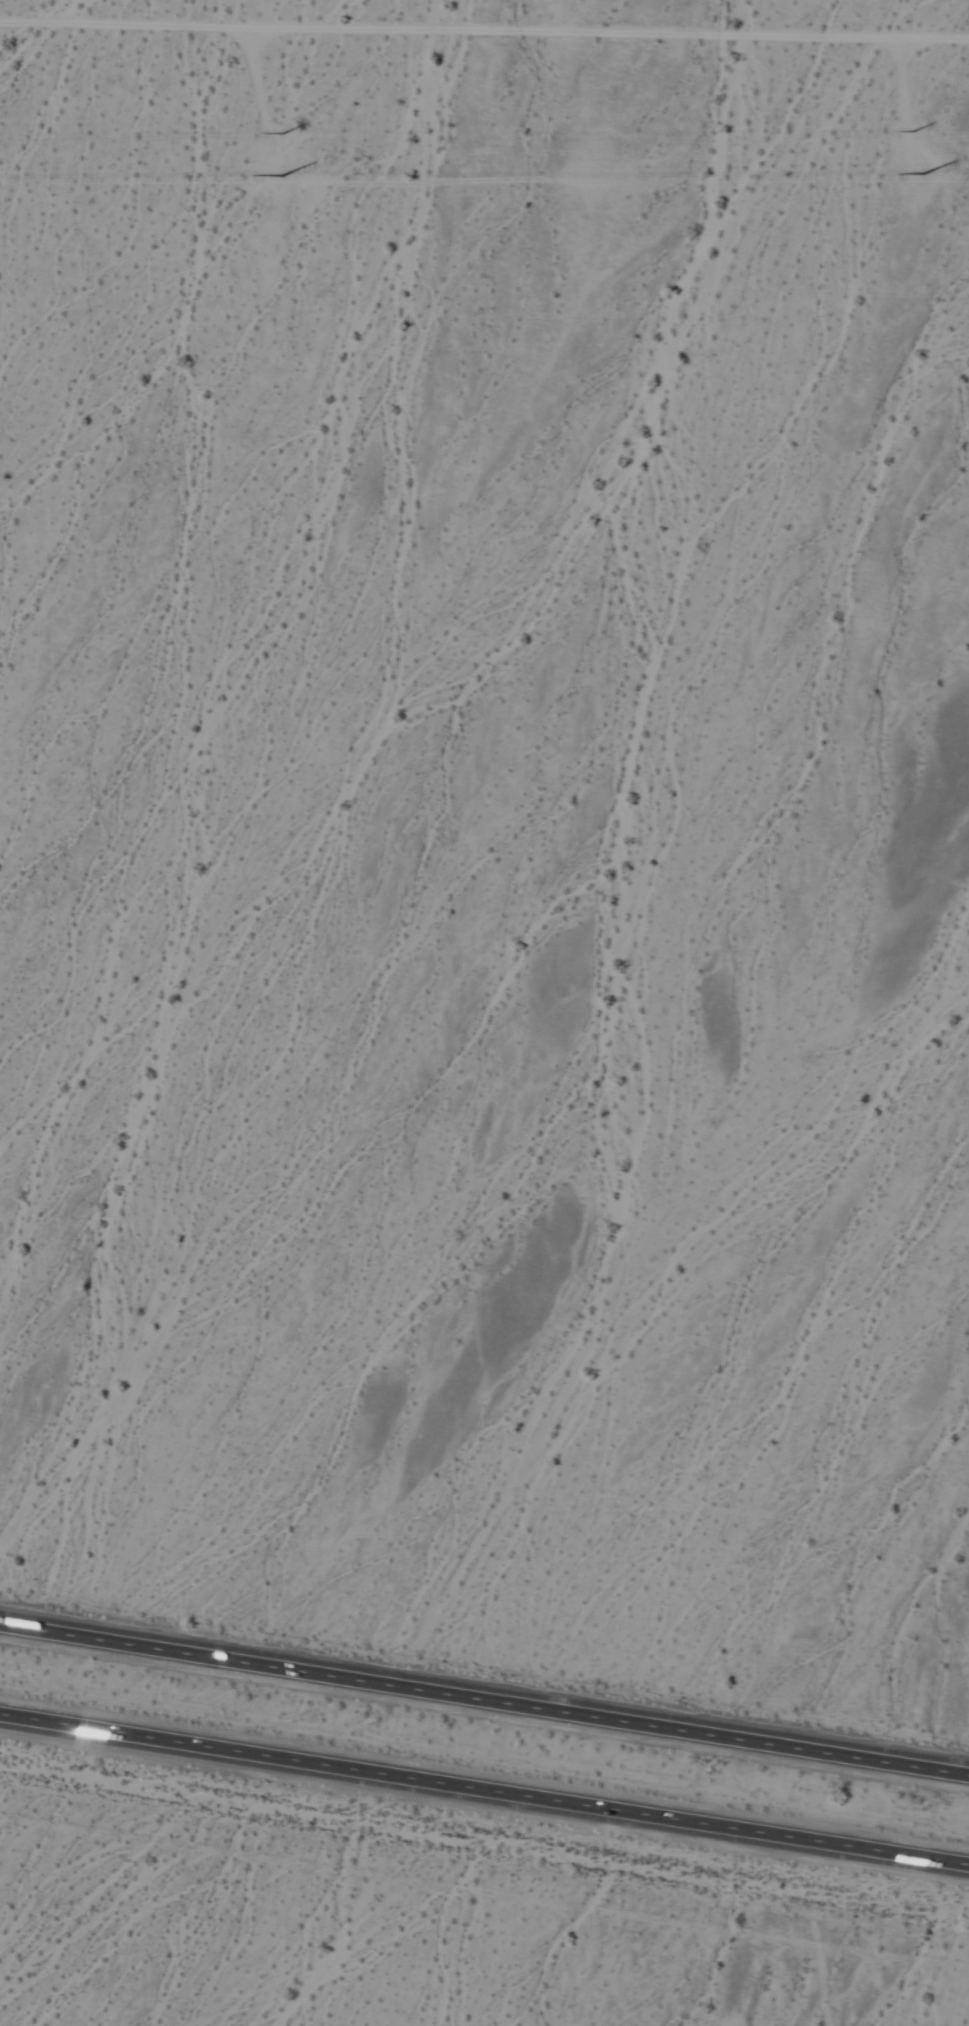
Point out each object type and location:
road: (484, 1696)
road: (484, 1795)

